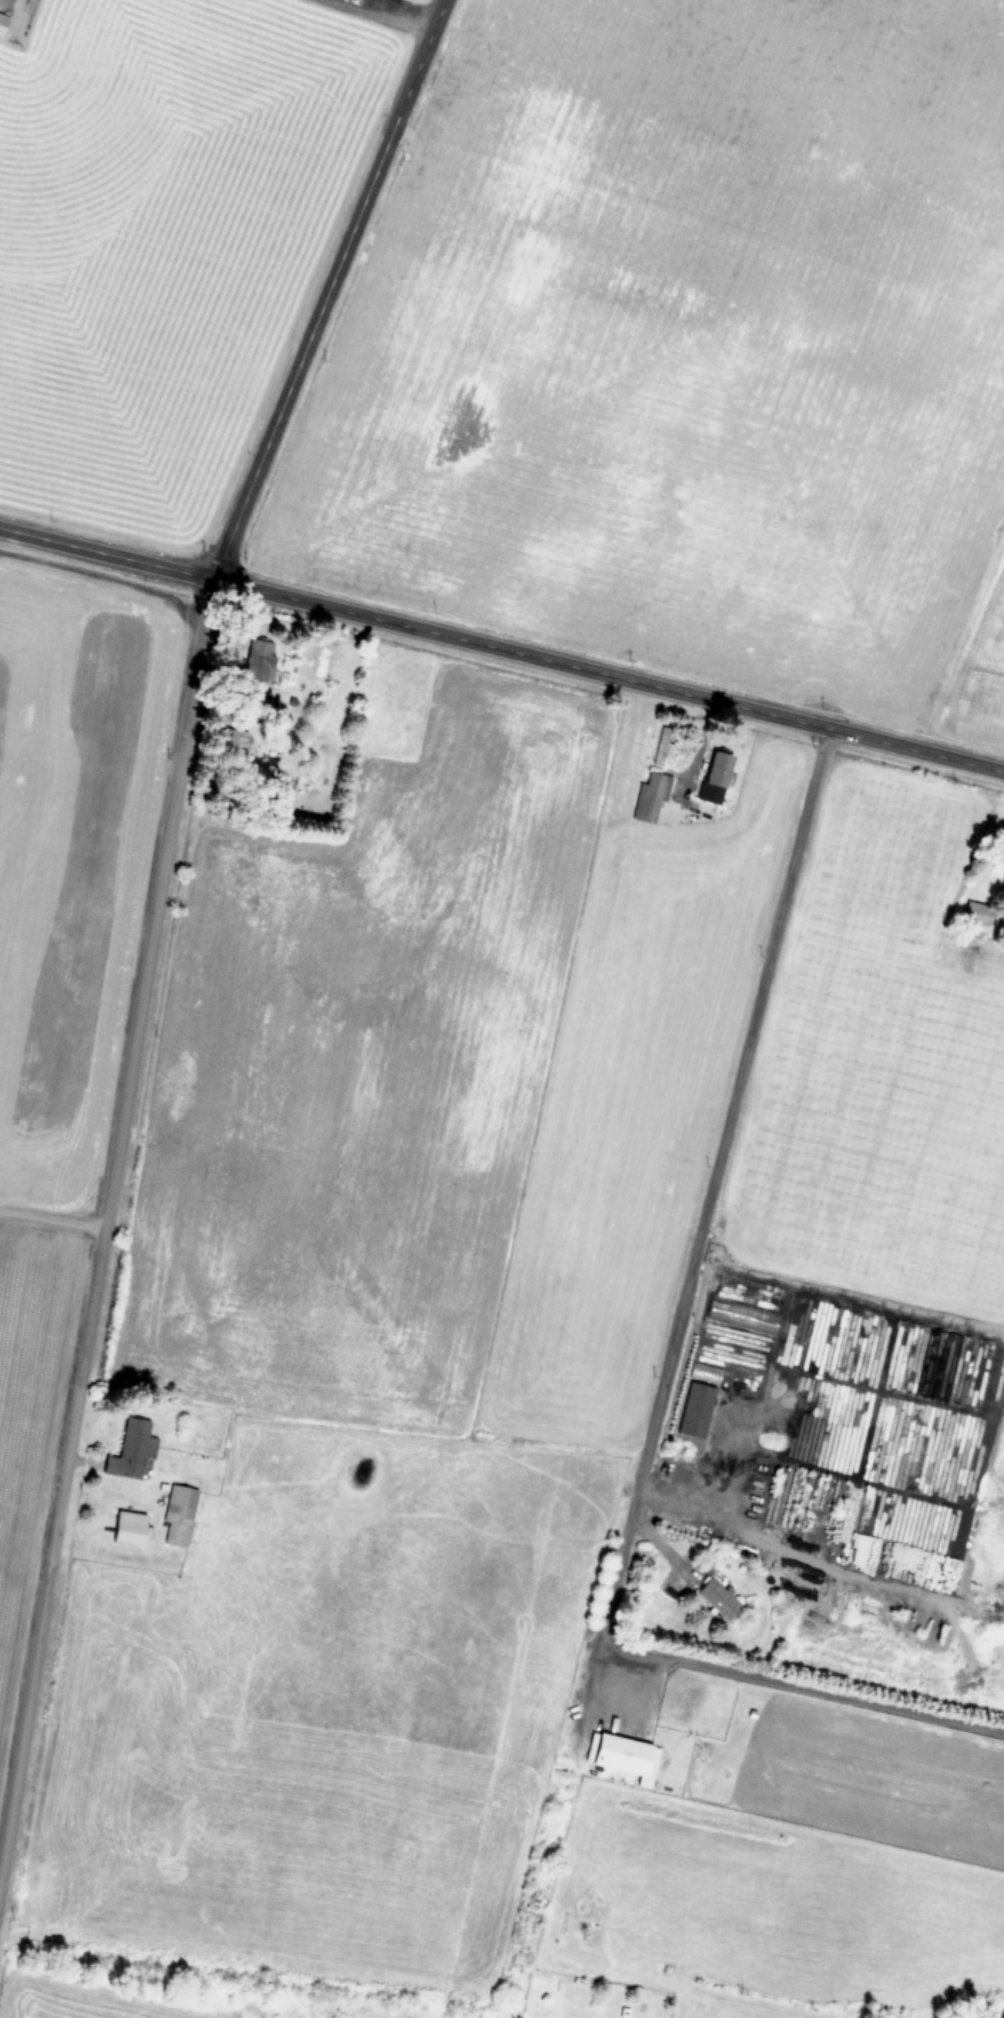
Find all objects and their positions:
road: (386, 16)
building: (2, 22)
crop: (162, 240)
road: (327, 289)
road: (106, 552)
building: (258, 659)
road: (608, 674)
building: (230, 738)
road: (34, 757)
building: (716, 774)
building: (654, 778)
building: (977, 912)
crop: (64, 970)
road: (129, 1068)
crop: (583, 1095)
road: (714, 1183)
road: (53, 1216)
building: (741, 1316)
building: (705, 1371)
building: (696, 1409)
building: (131, 1449)
road: (683, 1491)
building: (179, 1514)
building: (129, 1527)
building: (718, 1598)
road: (800, 1686)
road: (26, 1717)
building: (627, 1756)
building: (34, 1891)

